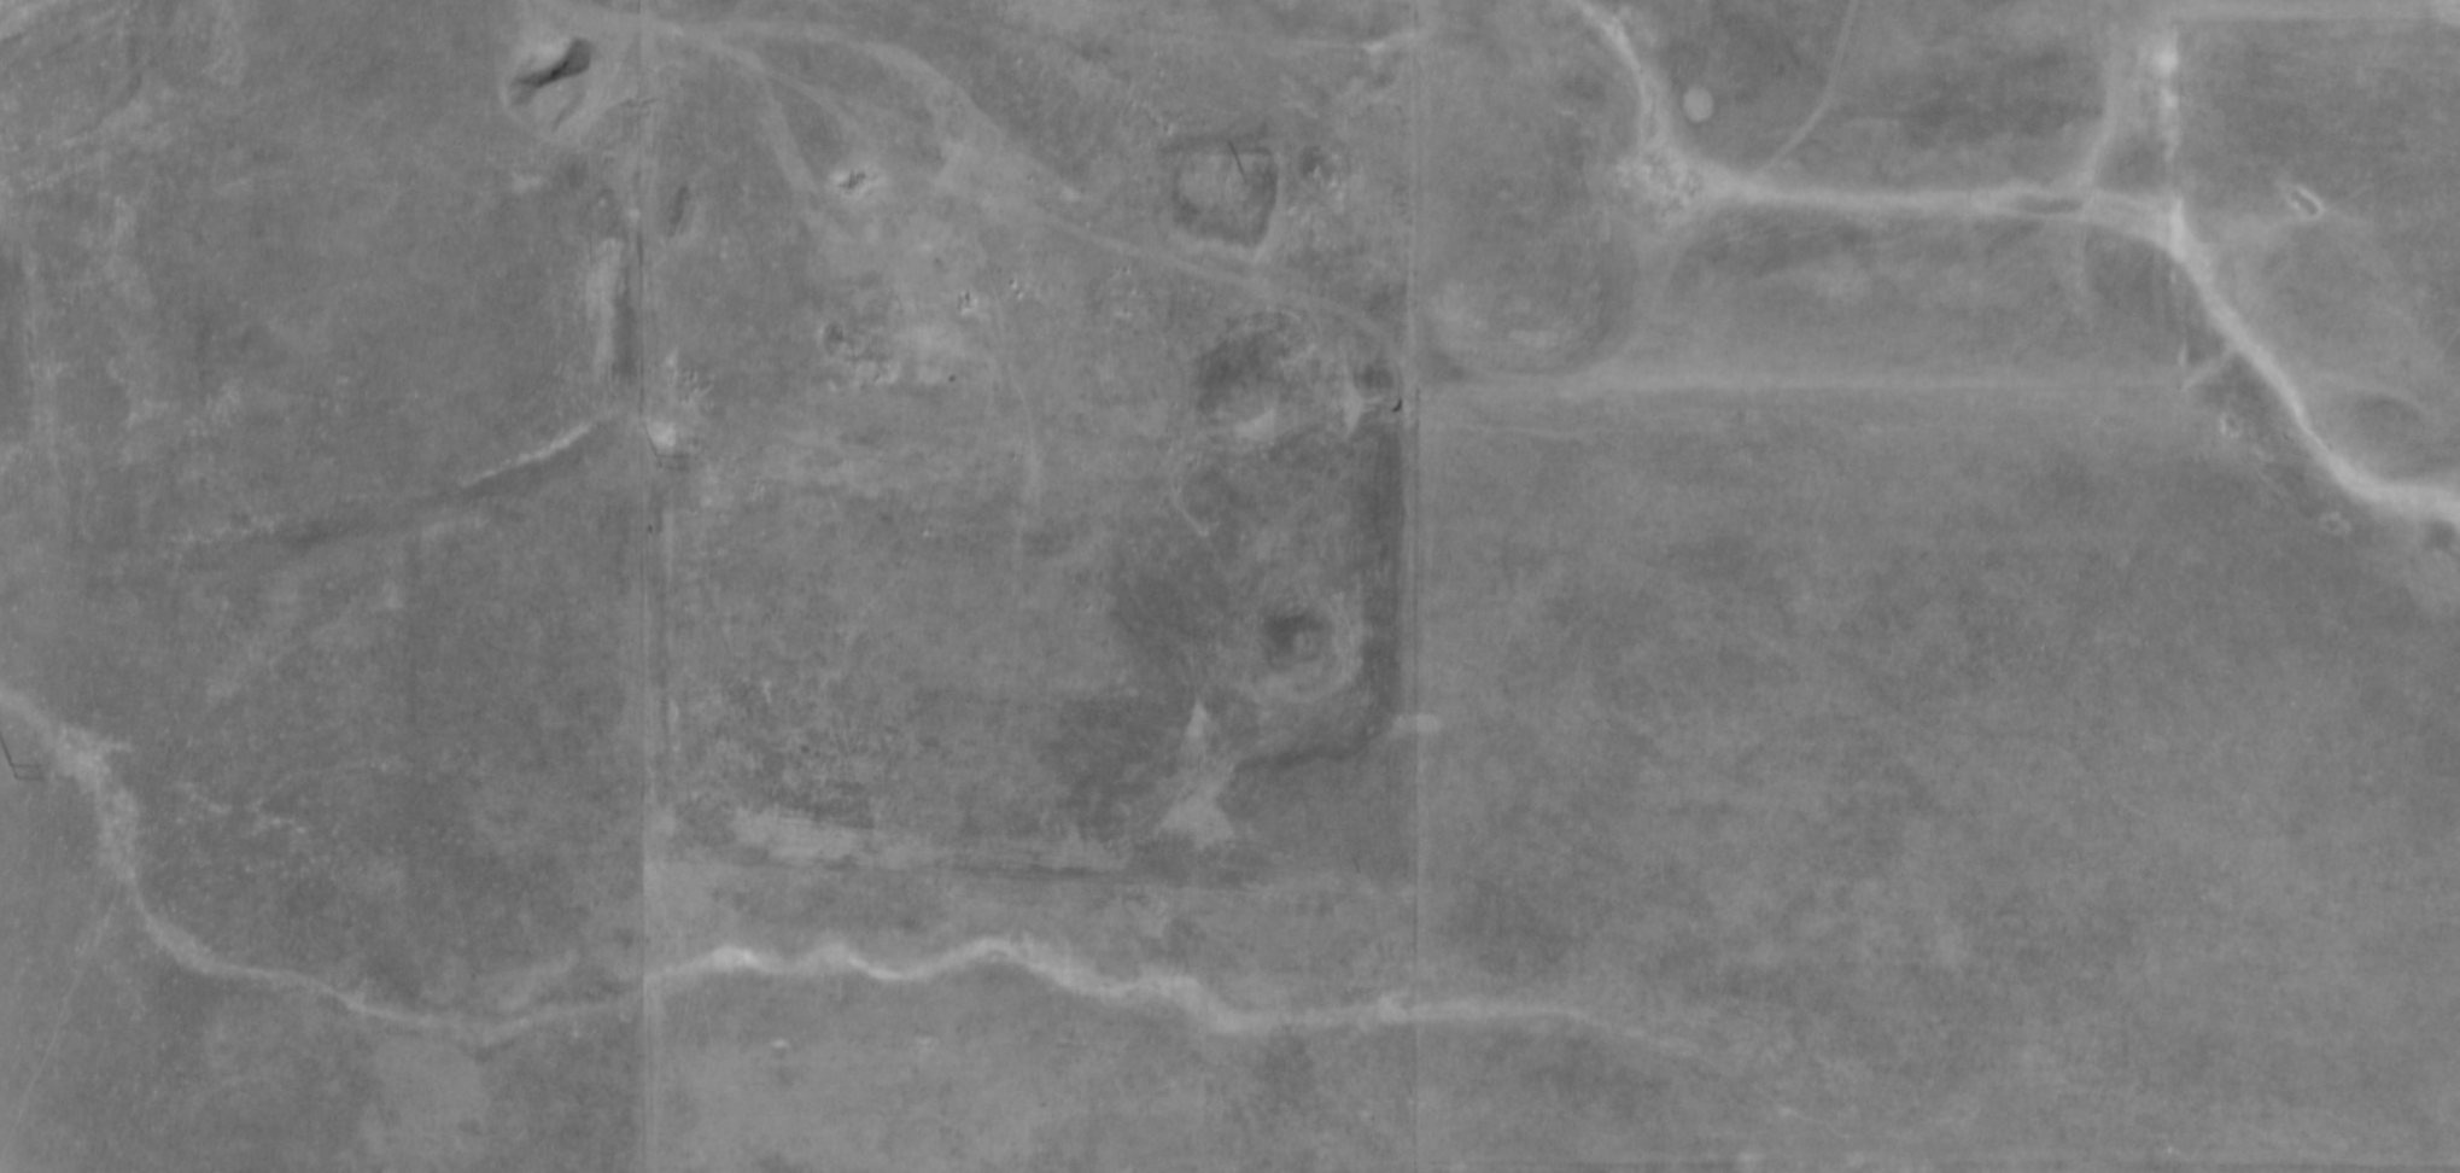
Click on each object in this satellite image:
power tower: (1241, 179)
power tower: (659, 462)
power tower: (11, 769)

